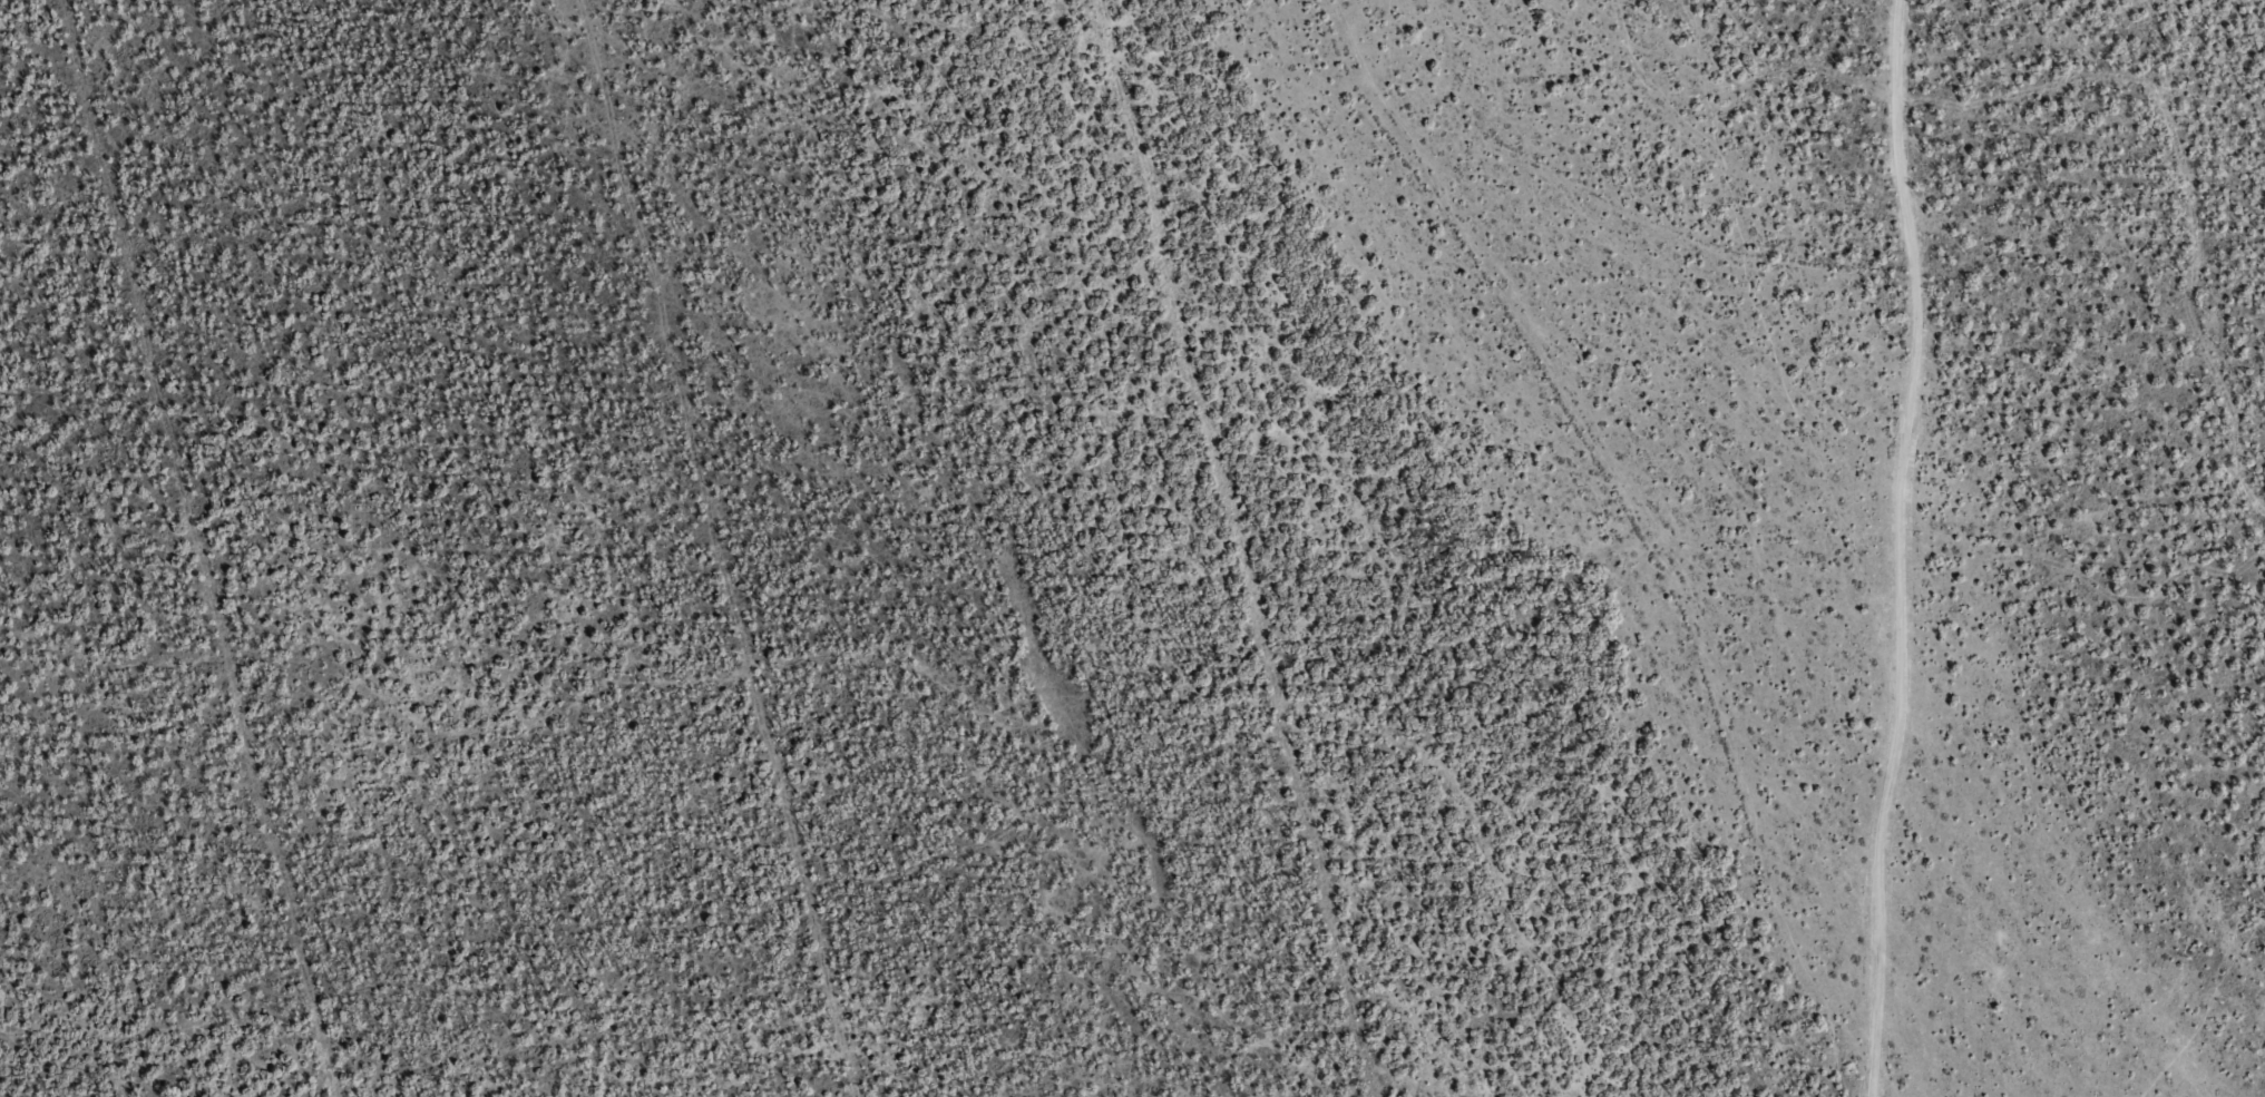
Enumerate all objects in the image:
road: (1907, 548)

